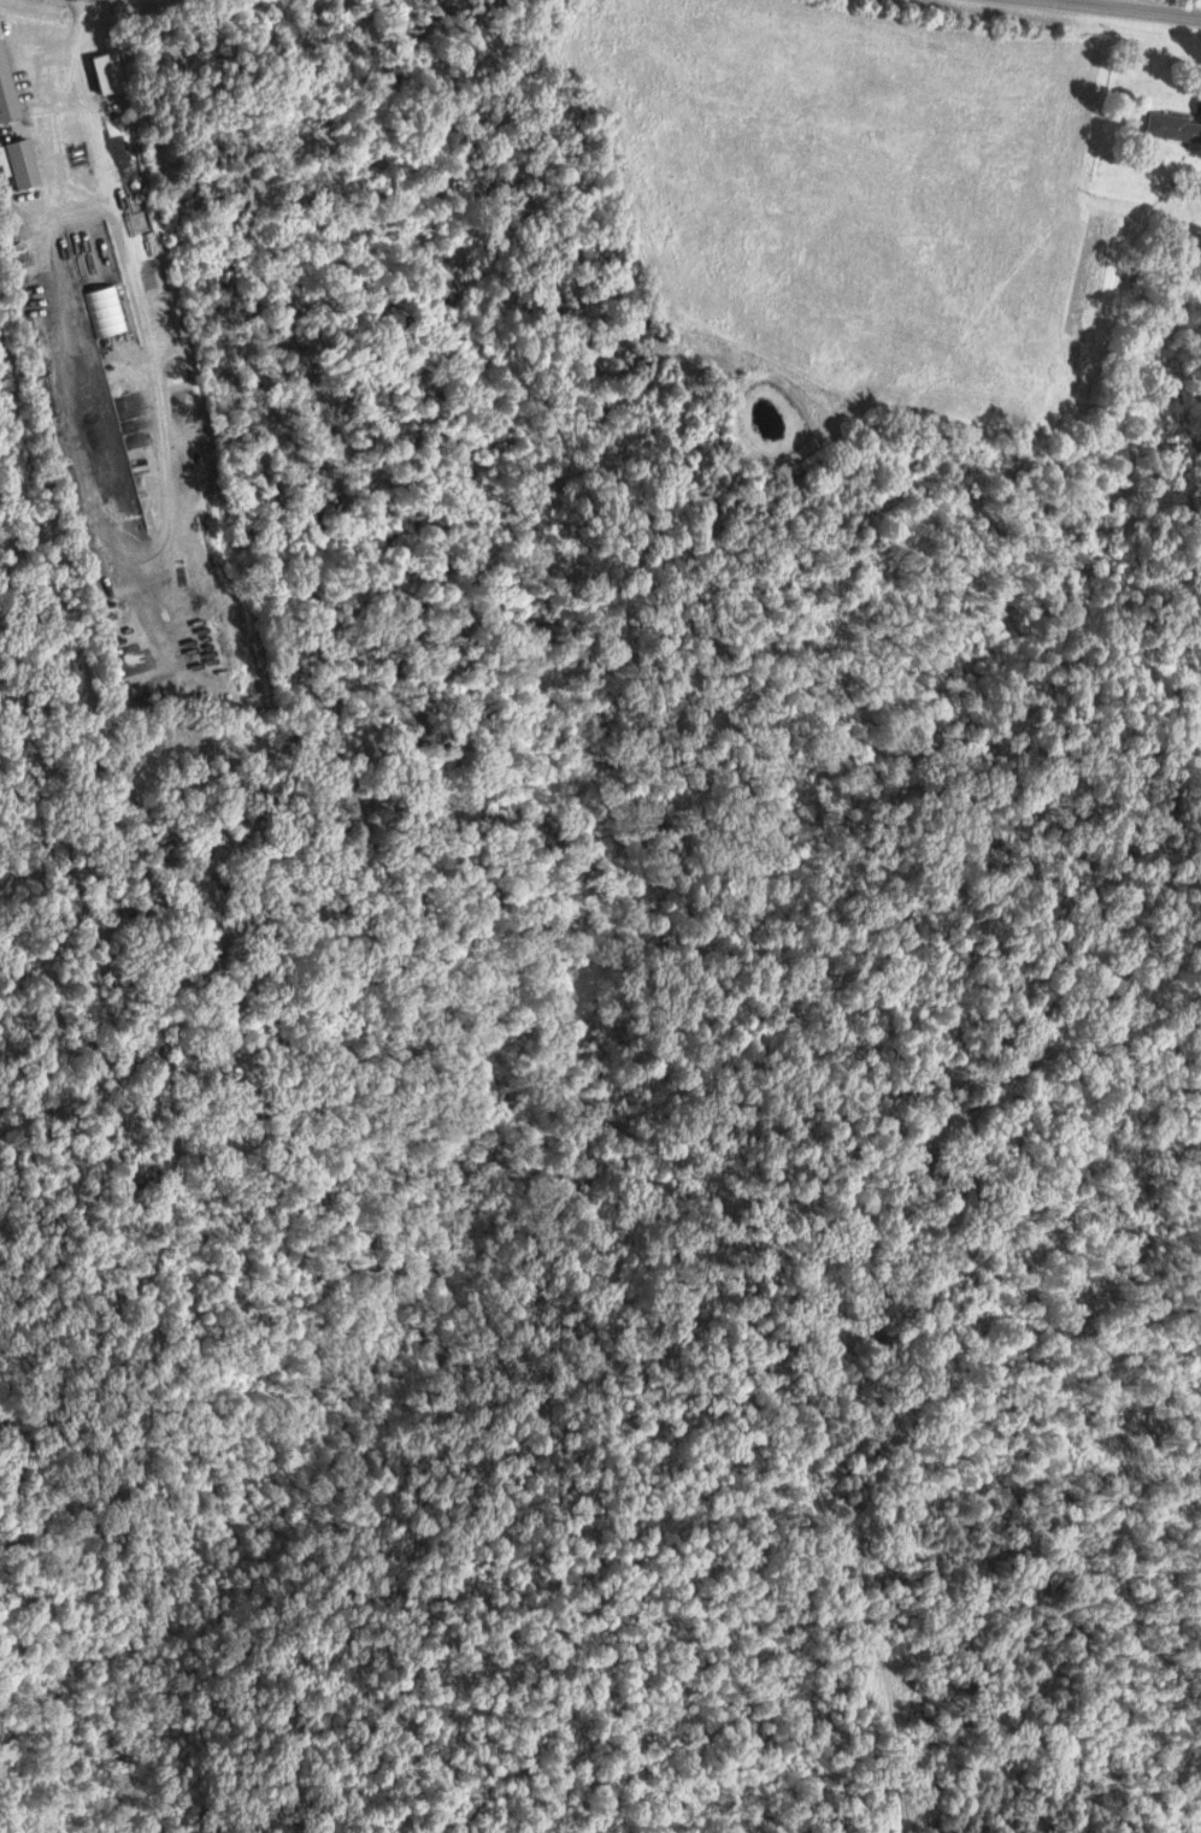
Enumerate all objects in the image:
road: (1129, 10)
building: (110, 72)
road: (1197, 87)
building: (8, 89)
building: (1173, 126)
building: (24, 164)
building: (104, 312)

